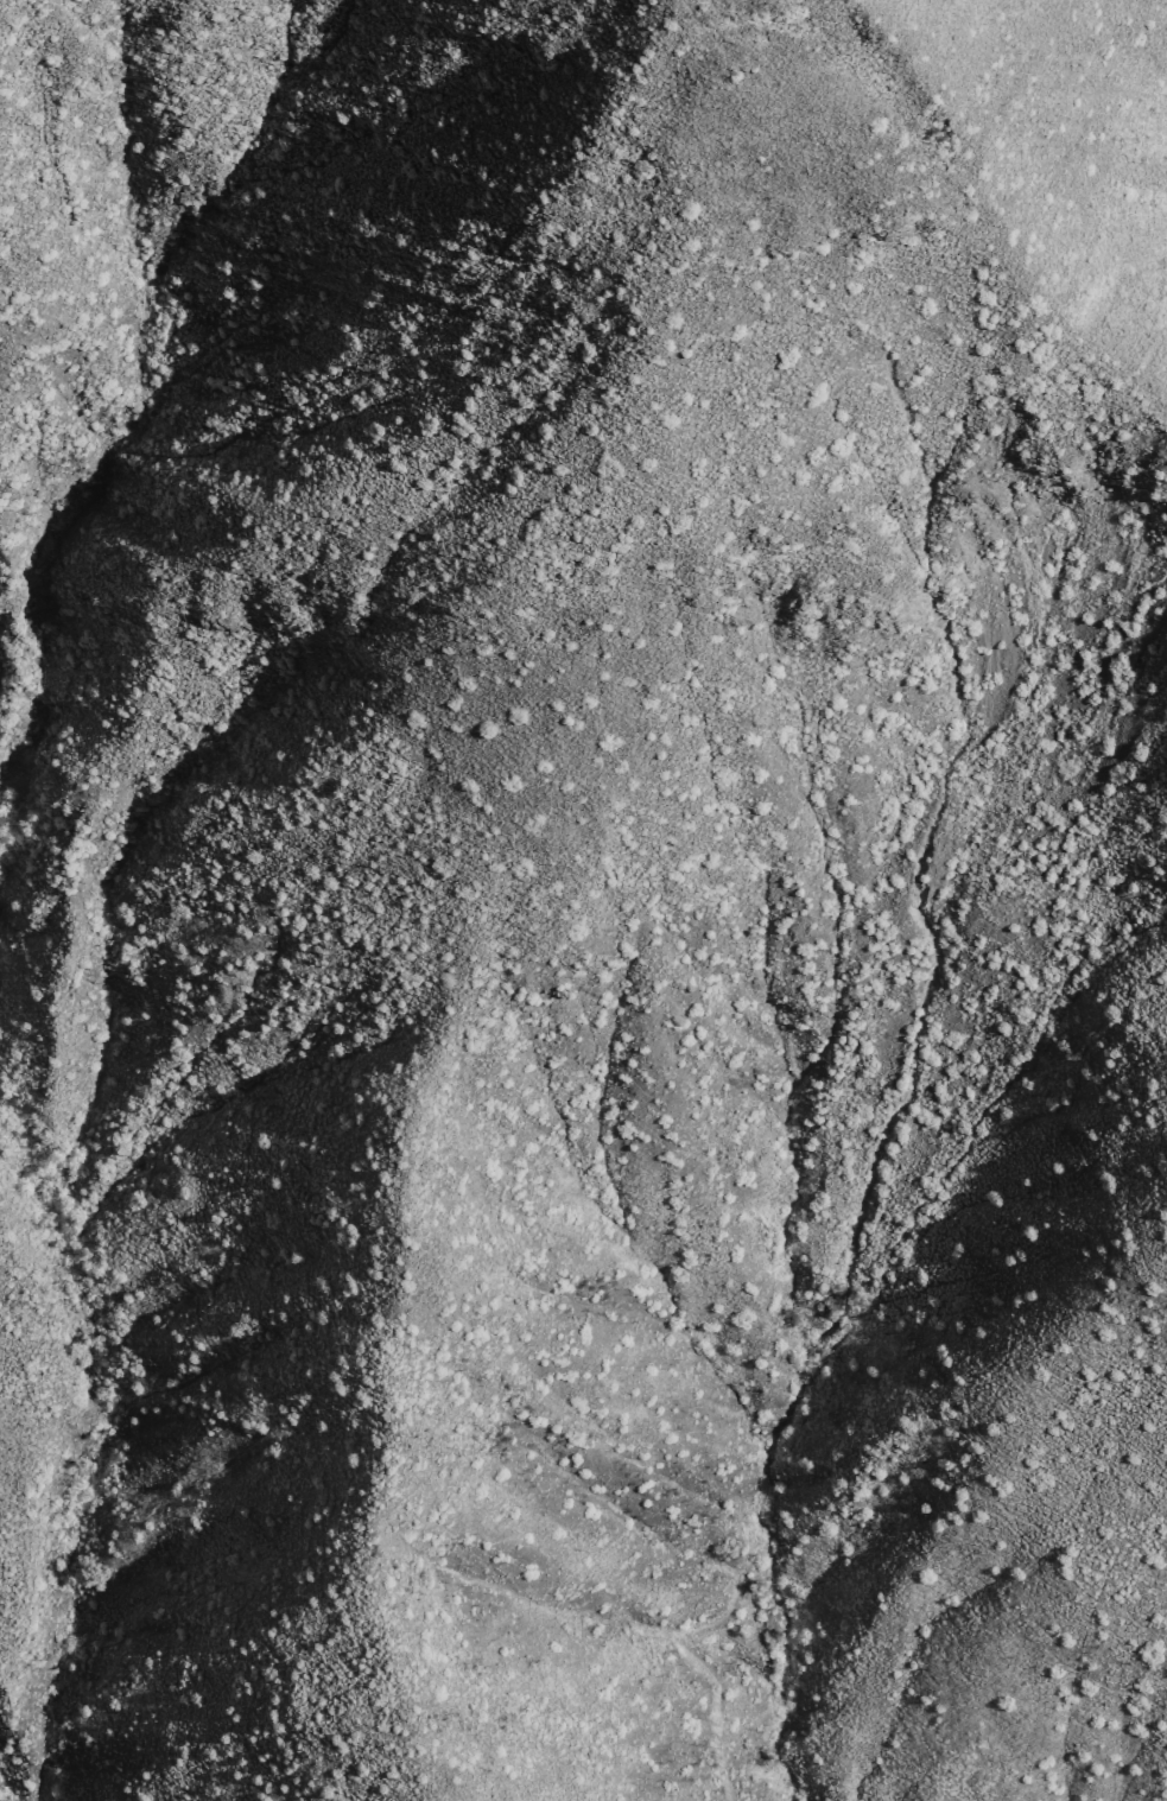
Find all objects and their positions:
road: (670, 1634)

